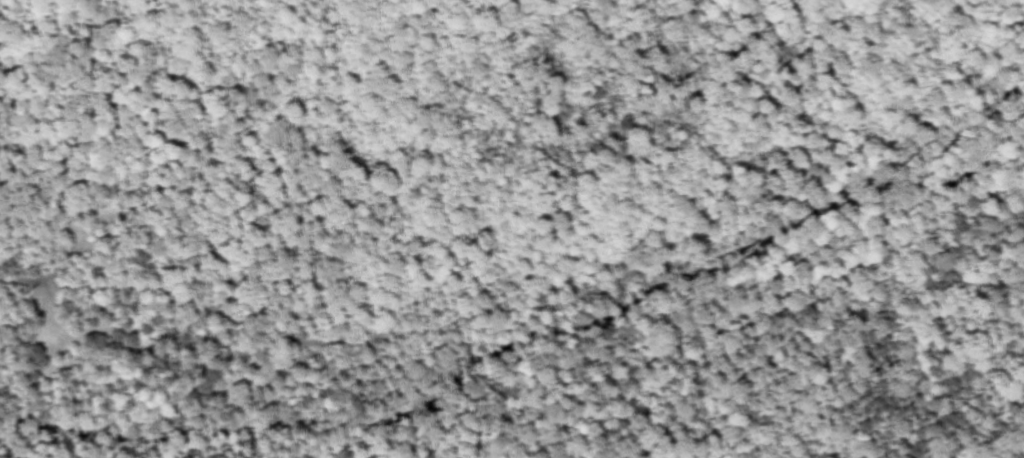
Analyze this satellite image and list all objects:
road: (20, 281)

